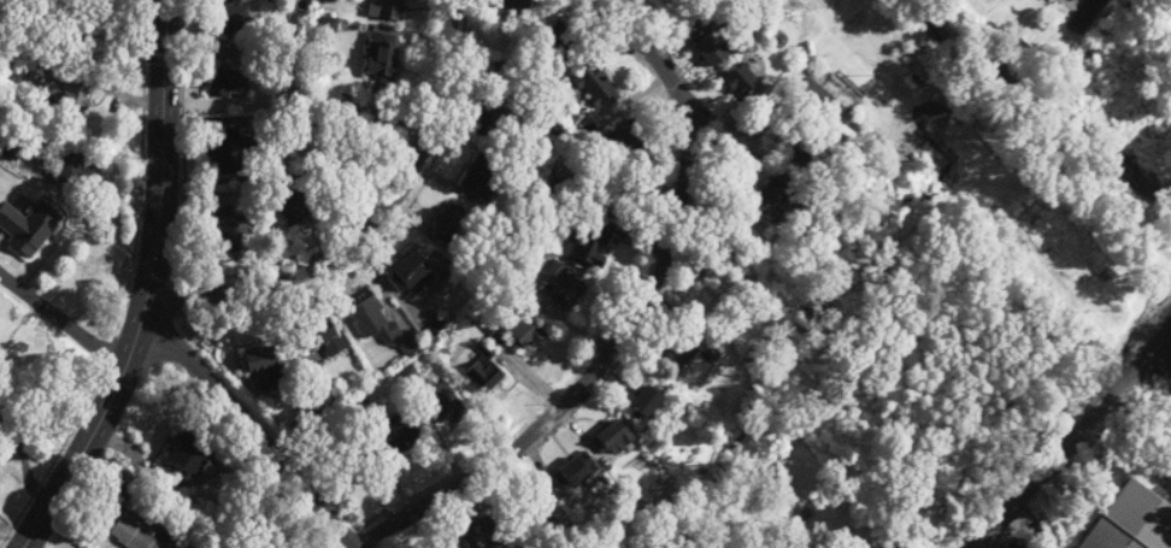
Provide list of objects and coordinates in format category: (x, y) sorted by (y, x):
building: (1046, 0)
building: (506, 4)
building: (386, 10)
building: (230, 19)
road: (1069, 34)
building: (560, 41)
building: (710, 51)
building: (381, 55)
road: (649, 55)
building: (46, 65)
building: (742, 83)
building: (228, 84)
building: (596, 88)
building: (69, 100)
road: (752, 128)
building: (231, 157)
road: (749, 157)
building: (479, 175)
road: (161, 187)
building: (769, 195)
building: (290, 210)
road: (369, 224)
building: (28, 228)
building: (448, 228)
building: (228, 232)
building: (592, 247)
building: (411, 276)
building: (567, 295)
road: (63, 323)
building: (383, 329)
building: (525, 335)
building: (323, 341)
building: (675, 353)
building: (265, 370)
building: (486, 375)
road: (588, 379)
building: (642, 403)
road: (249, 429)
building: (402, 436)
building: (612, 438)
railway: (1069, 440)
railway: (1063, 452)
building: (187, 455)
road: (24, 459)
road: (77, 460)
building: (353, 466)
building: (575, 472)
road: (113, 491)
building: (535, 508)
road: (154, 519)
building: (1131, 522)
building: (484, 535)
building: (131, 536)
building: (290, 541)
building: (842, 543)
road: (935, 546)

